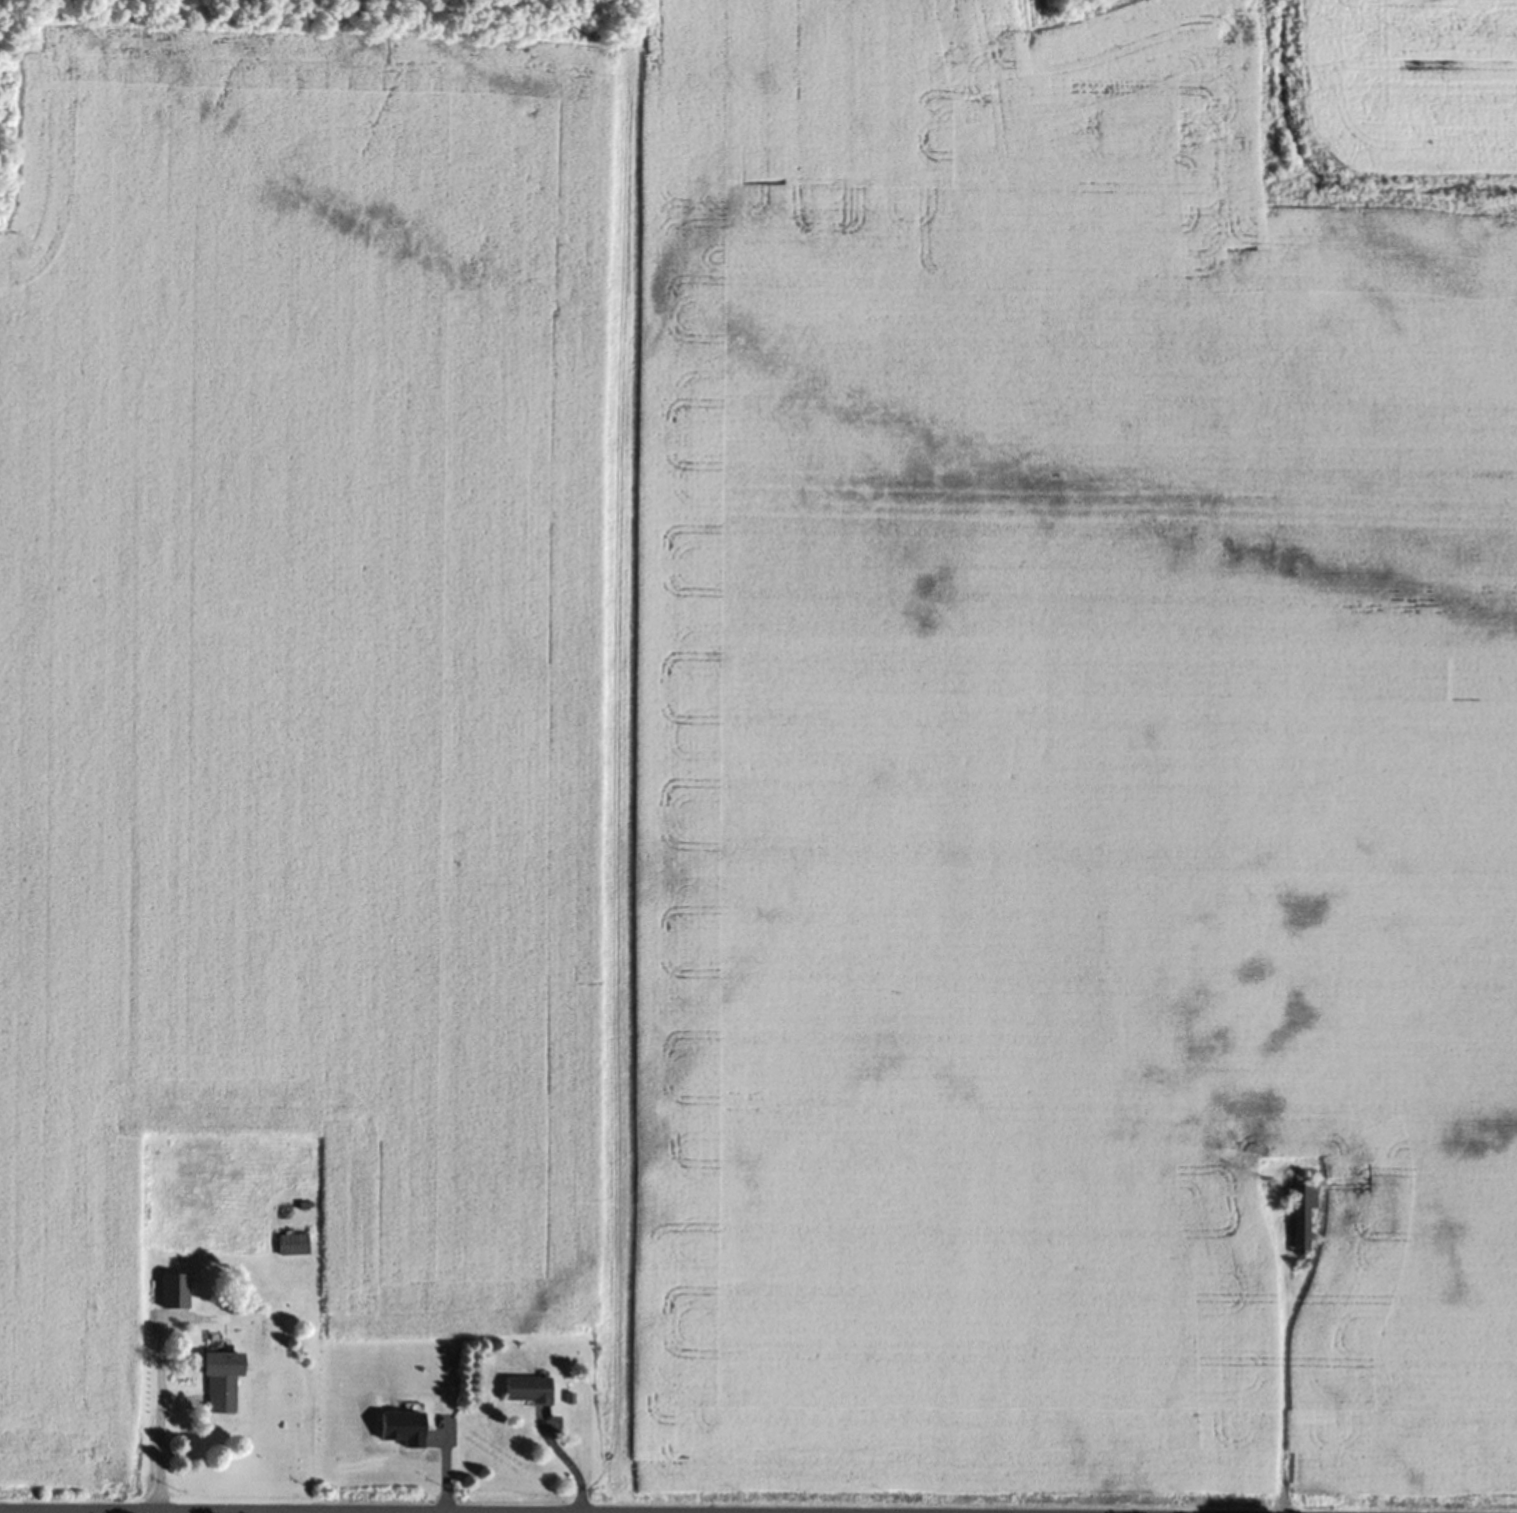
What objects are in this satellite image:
building: (1303, 1221)
building: (296, 1248)
building: (175, 1295)
building: (223, 1383)
building: (528, 1394)
road: (157, 1414)
road: (566, 1459)
road: (205, 1512)

